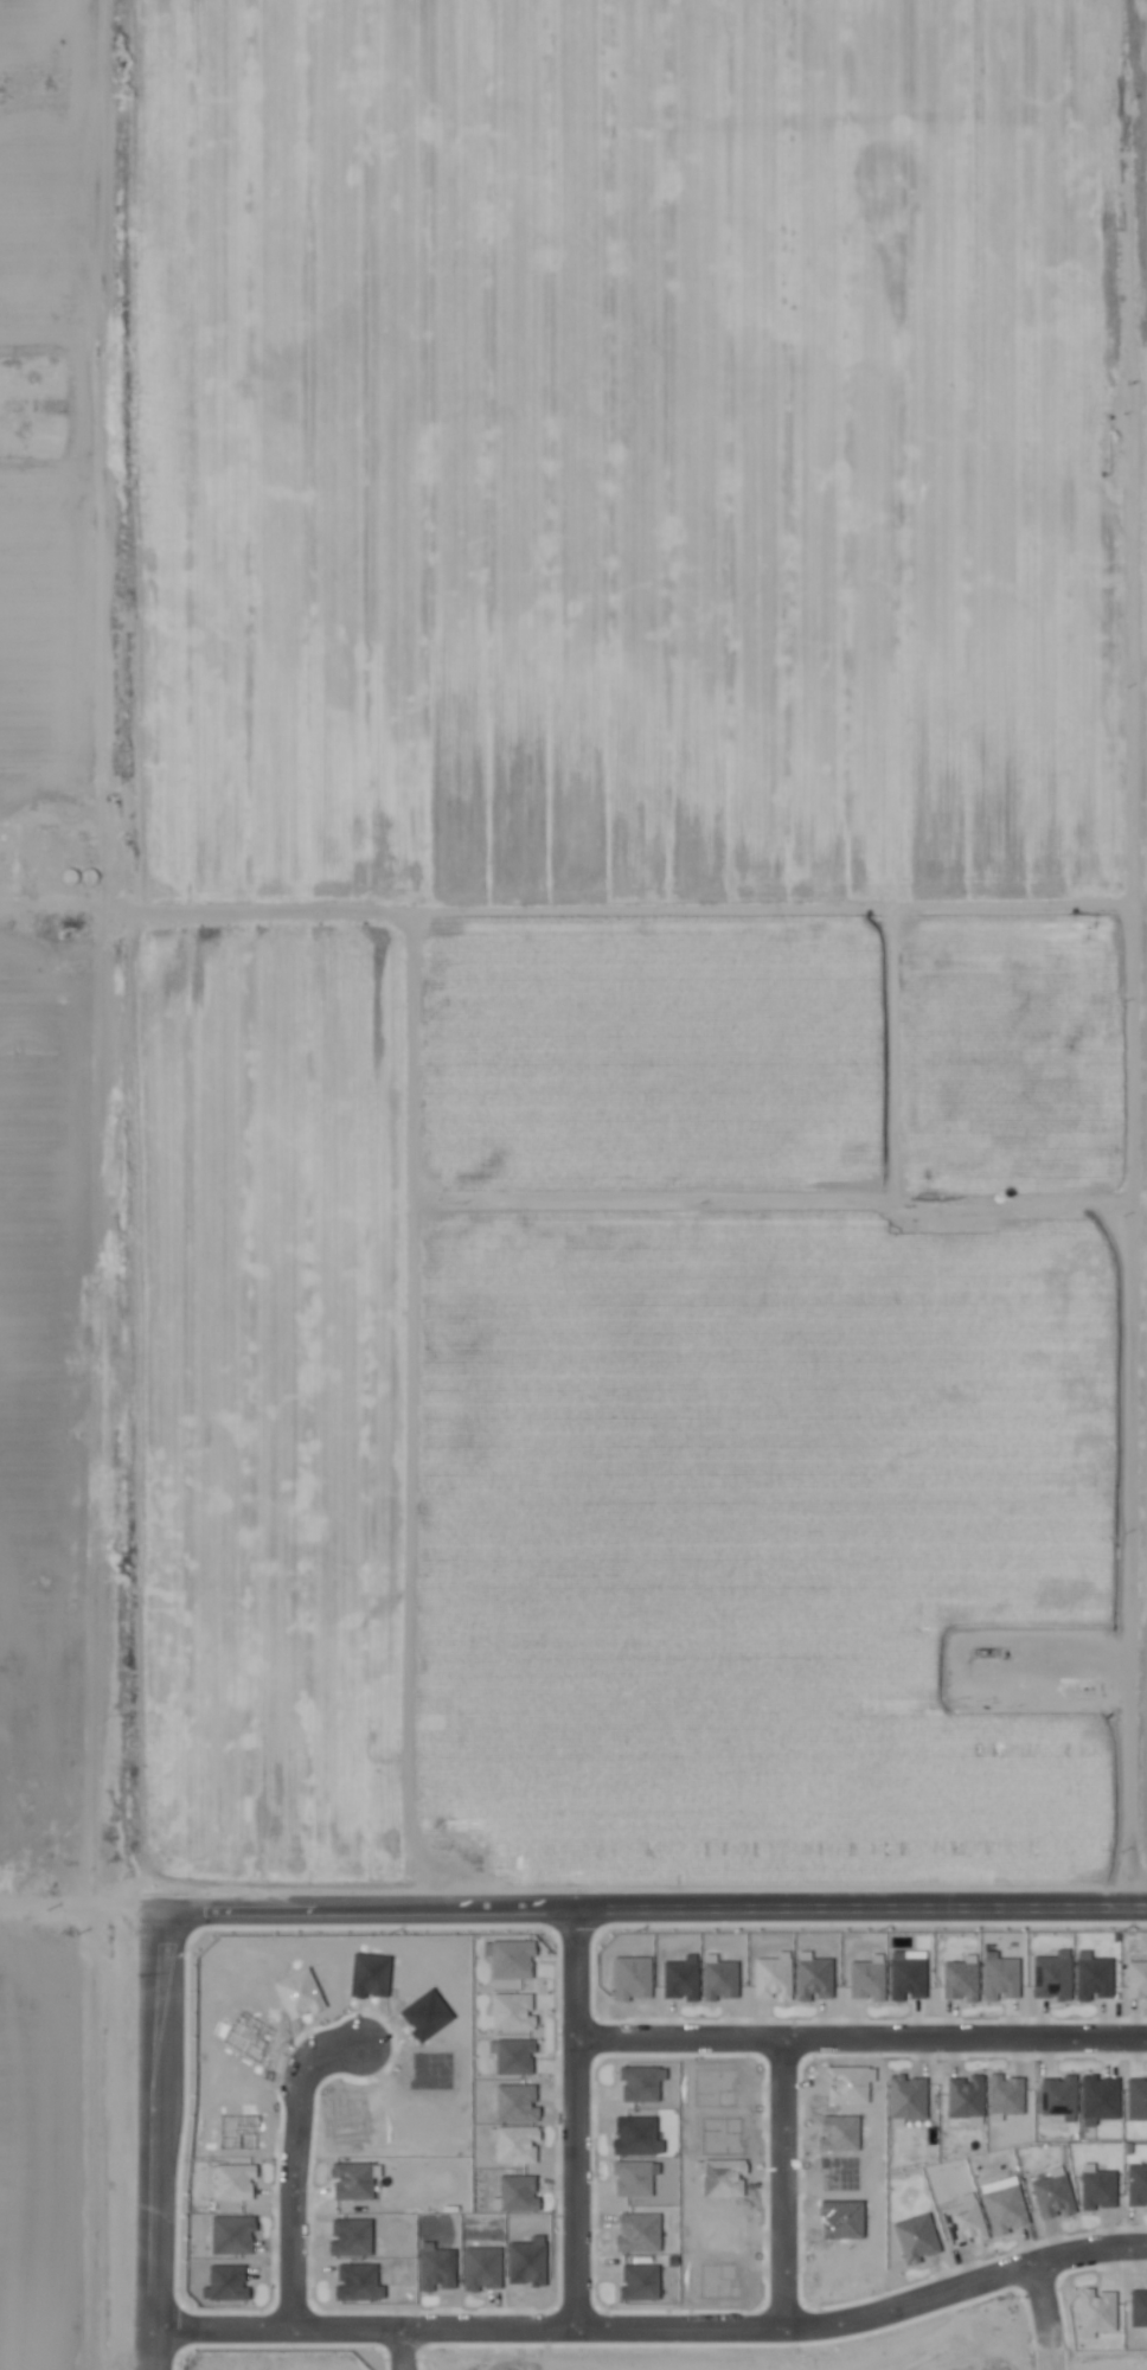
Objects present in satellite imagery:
road: (642, 1897)
building: (508, 1959)
building: (1051, 1975)
building: (812, 1977)
building: (905, 1977)
building: (999, 1977)
building: (1091, 1977)
building: (866, 1978)
building: (960, 1979)
building: (1136, 1979)
building: (511, 2011)
road: (859, 2030)
building: (512, 2055)
building: (965, 2096)
building: (1004, 2096)
building: (1058, 2097)
building: (1097, 2099)
building: (1136, 2099)
building: (905, 2100)
road: (572, 2114)
road: (139, 2134)
road: (295, 2166)
road: (782, 2179)
building: (351, 2180)
building: (233, 2182)
building: (1136, 2185)
building: (1096, 2188)
building: (1052, 2195)
building: (1005, 2209)
building: (965, 2222)
building: (637, 2233)
building: (231, 2235)
building: (915, 2238)
building: (480, 2268)
building: (639, 2282)
building: (1138, 2308)
building: (1096, 2310)
road: (1046, 2315)
road: (649, 2330)
road: (401, 2350)

